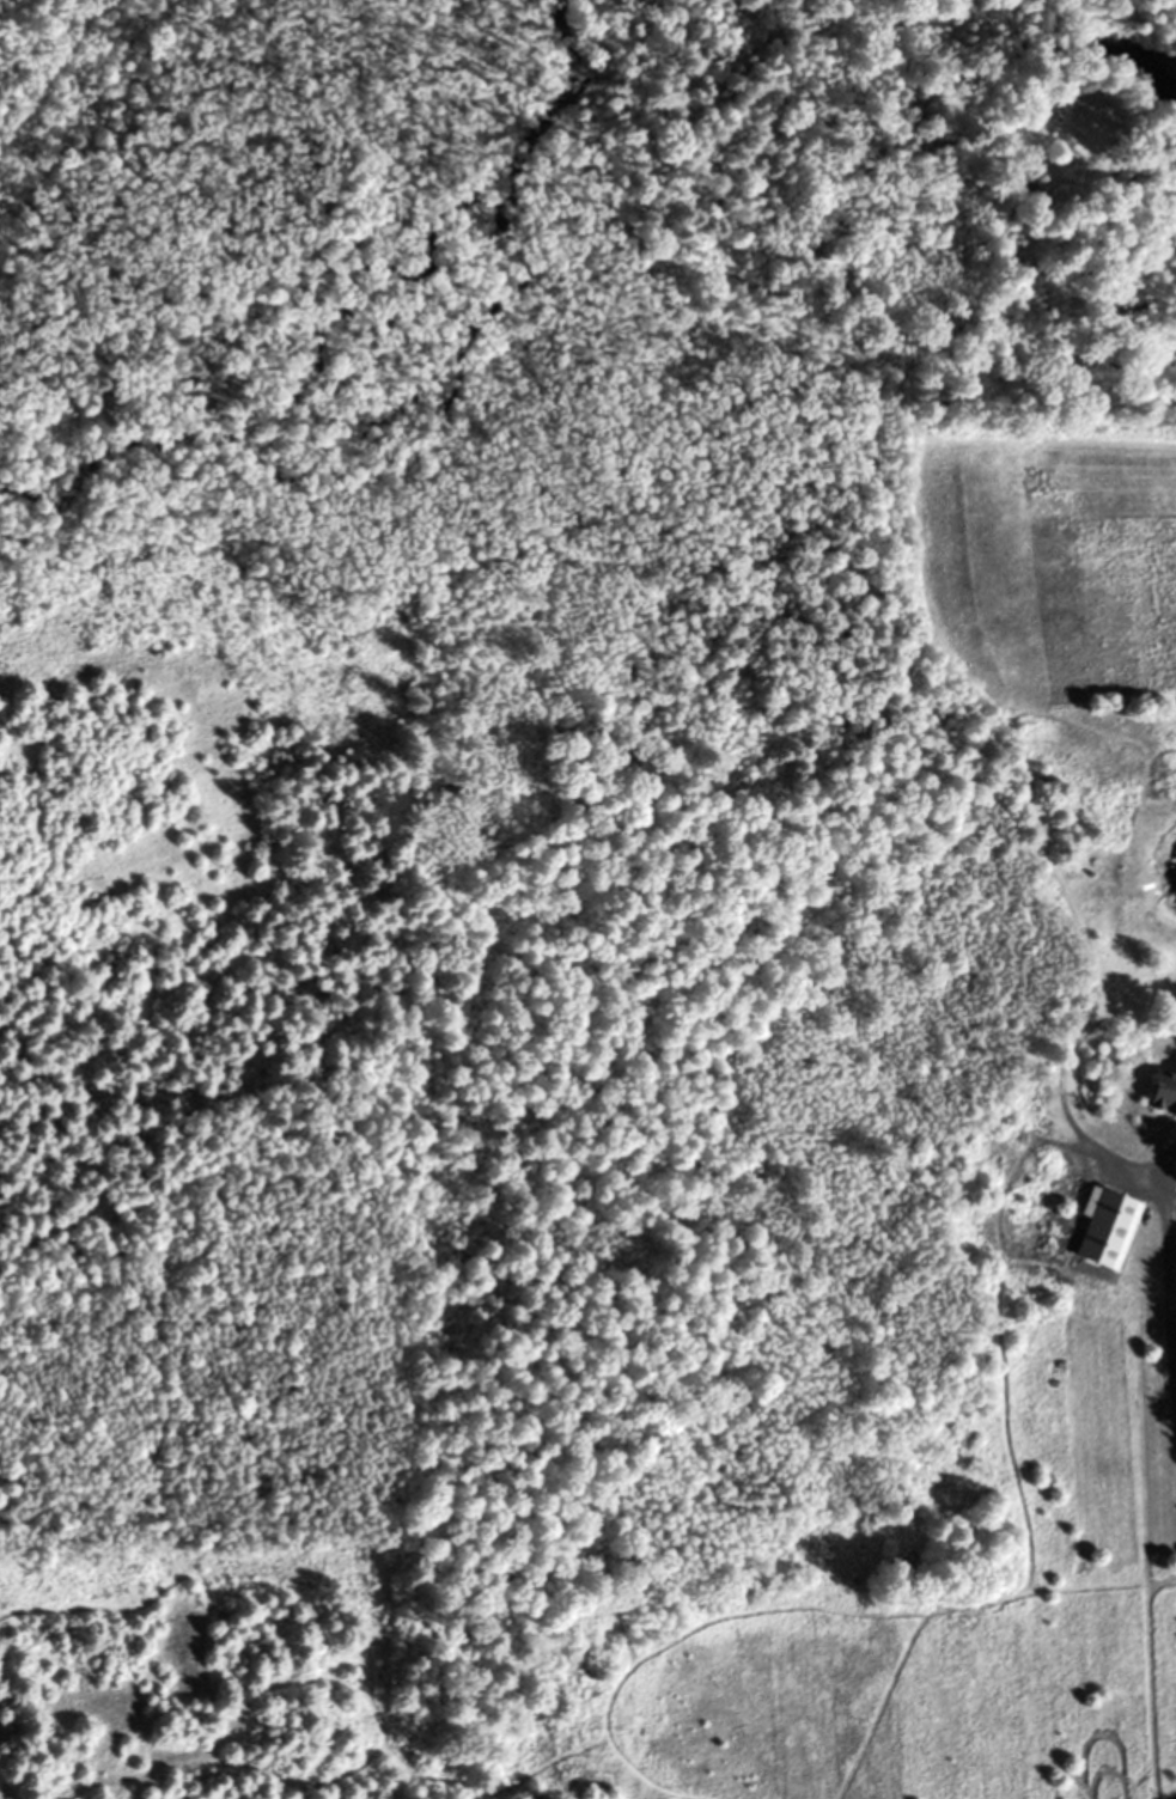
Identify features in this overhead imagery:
building: (1164, 1093)
road: (1175, 1240)

